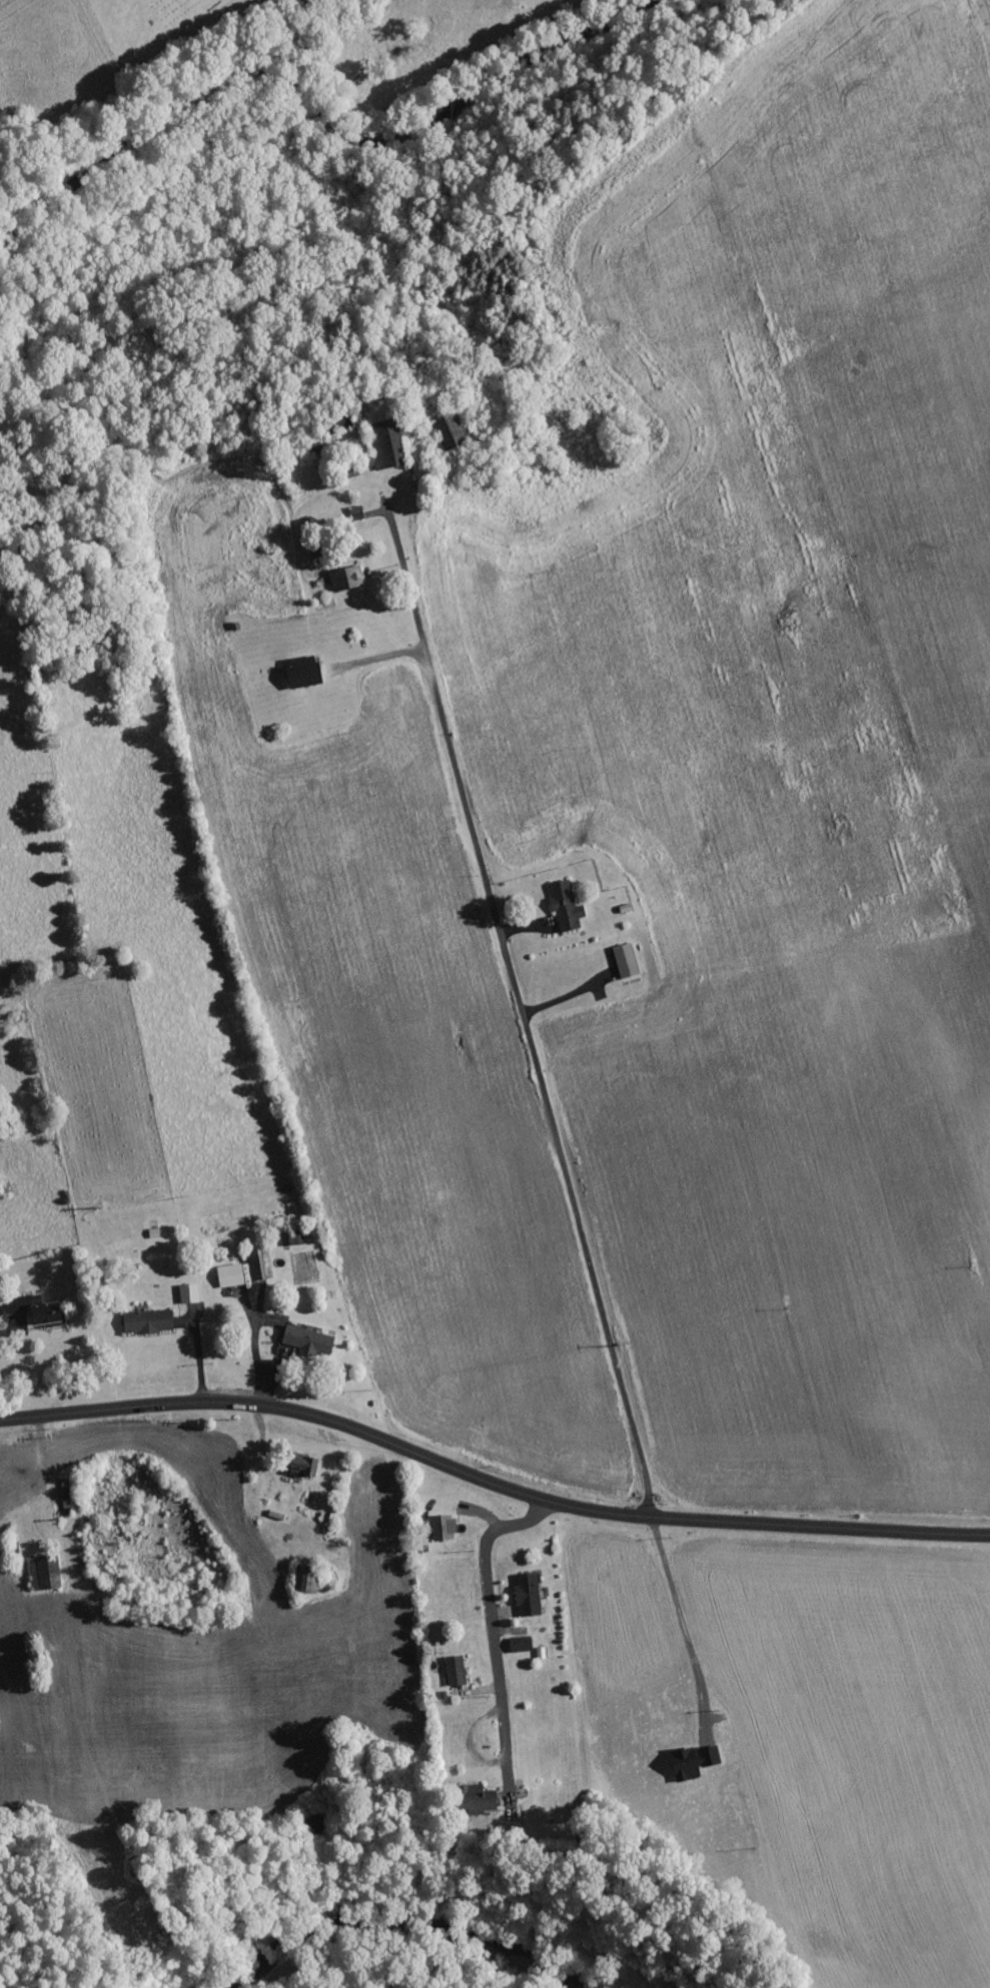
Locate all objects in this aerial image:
building: (452, 429)
building: (387, 443)
building: (347, 578)
building: (304, 672)
building: (566, 907)
building: (627, 961)
road: (523, 1020)
building: (289, 1238)
building: (259, 1263)
building: (231, 1274)
building: (190, 1292)
building: (45, 1311)
building: (148, 1321)
building: (308, 1339)
building: (304, 1464)
road: (490, 1482)
building: (444, 1527)
building: (46, 1572)
building: (307, 1578)
building: (529, 1594)
road: (492, 1626)
building: (522, 1644)
building: (456, 1670)
building: (694, 1761)
building: (474, 1799)

